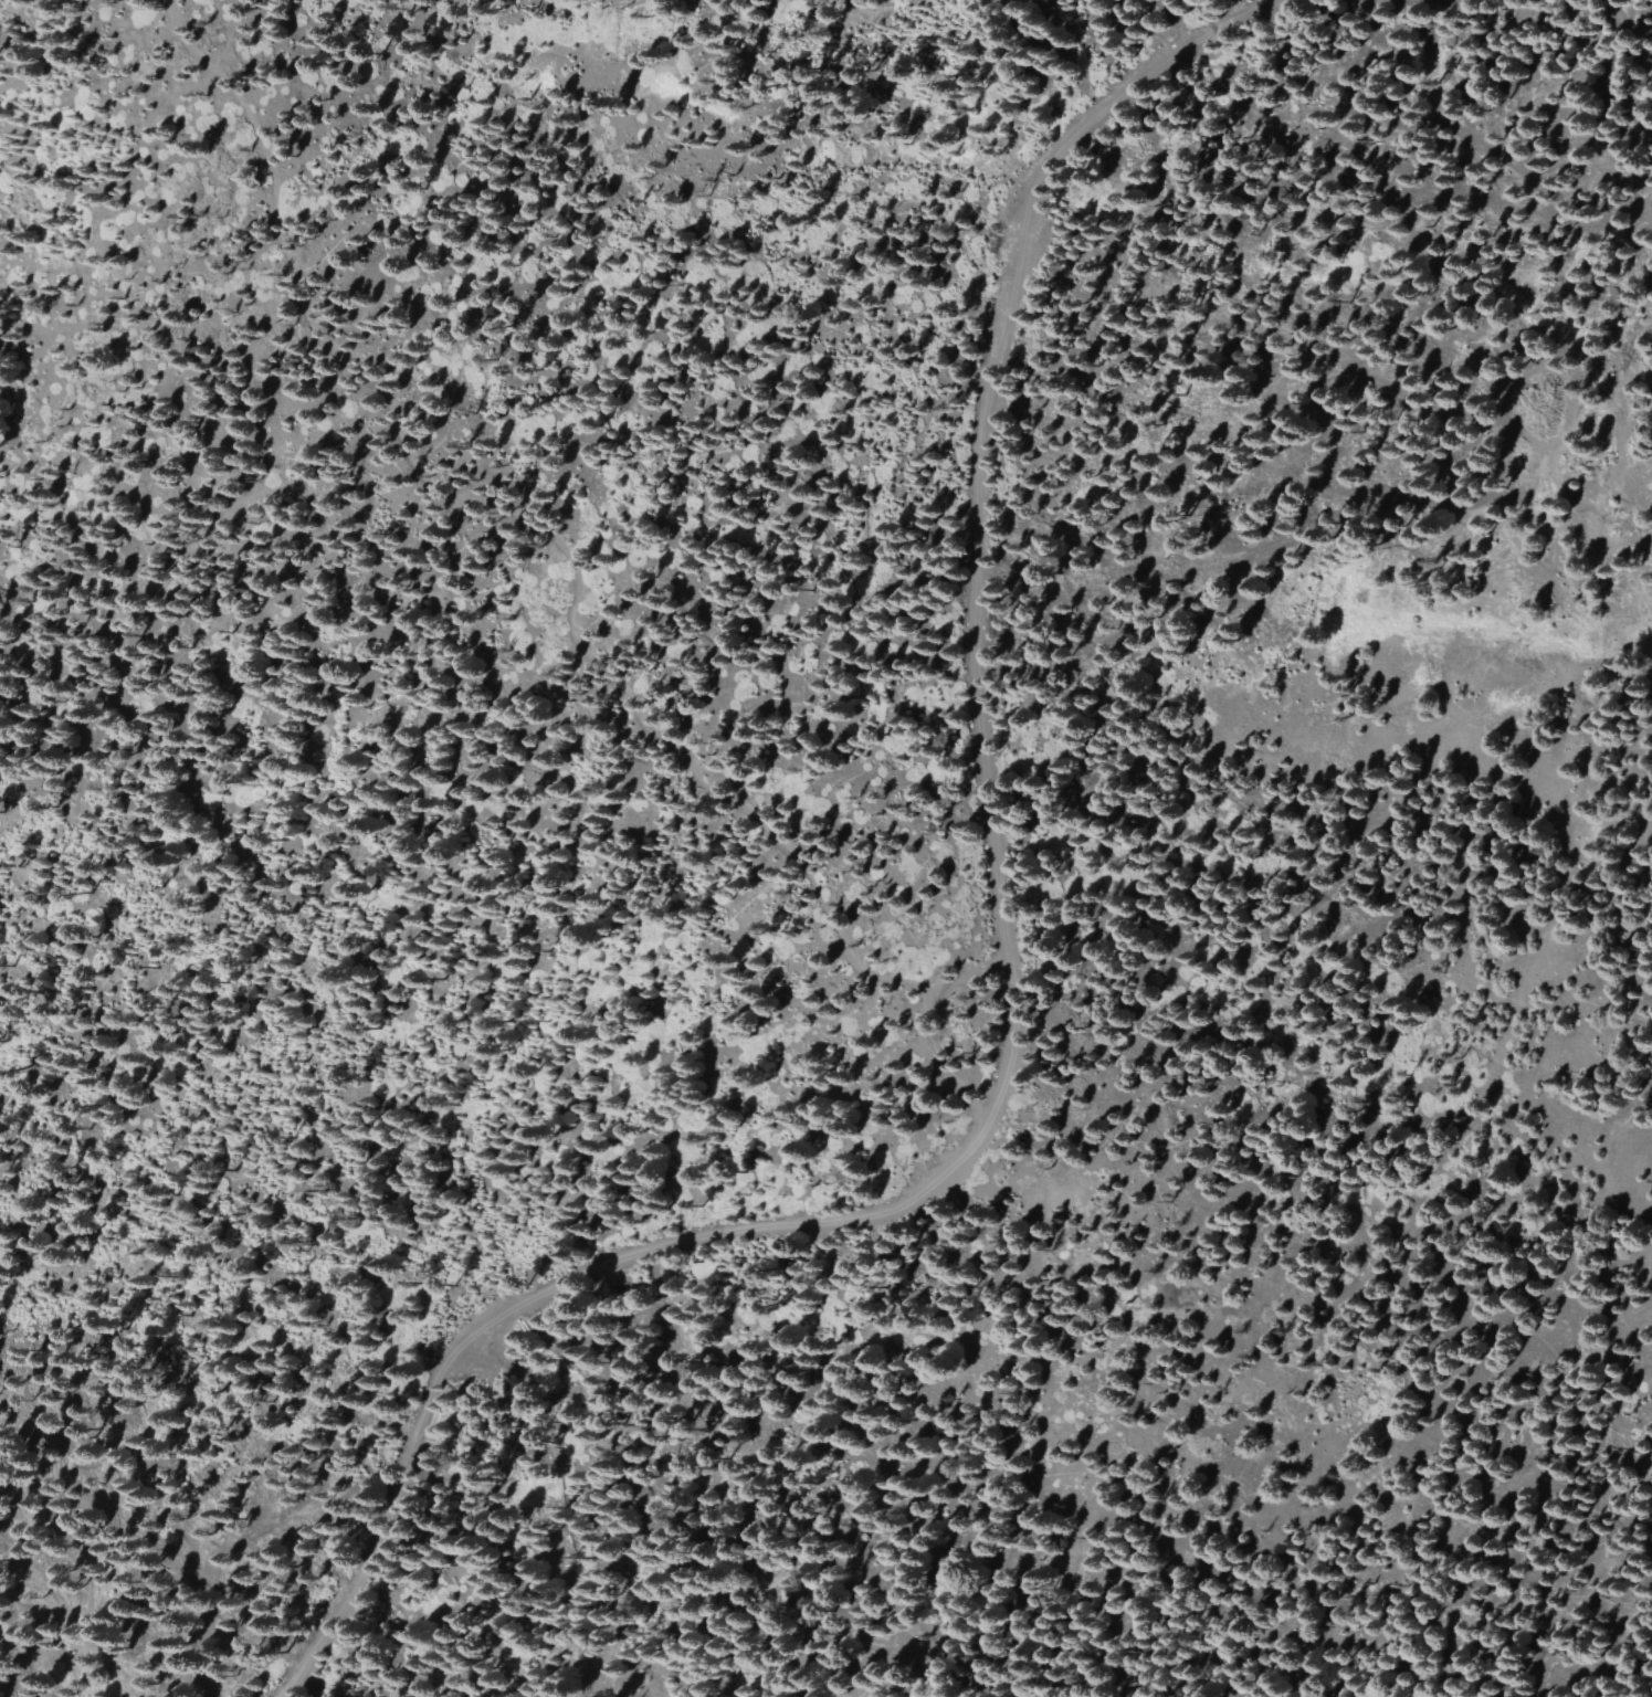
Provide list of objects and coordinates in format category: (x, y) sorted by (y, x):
road: (555, 538)
road: (1012, 998)

